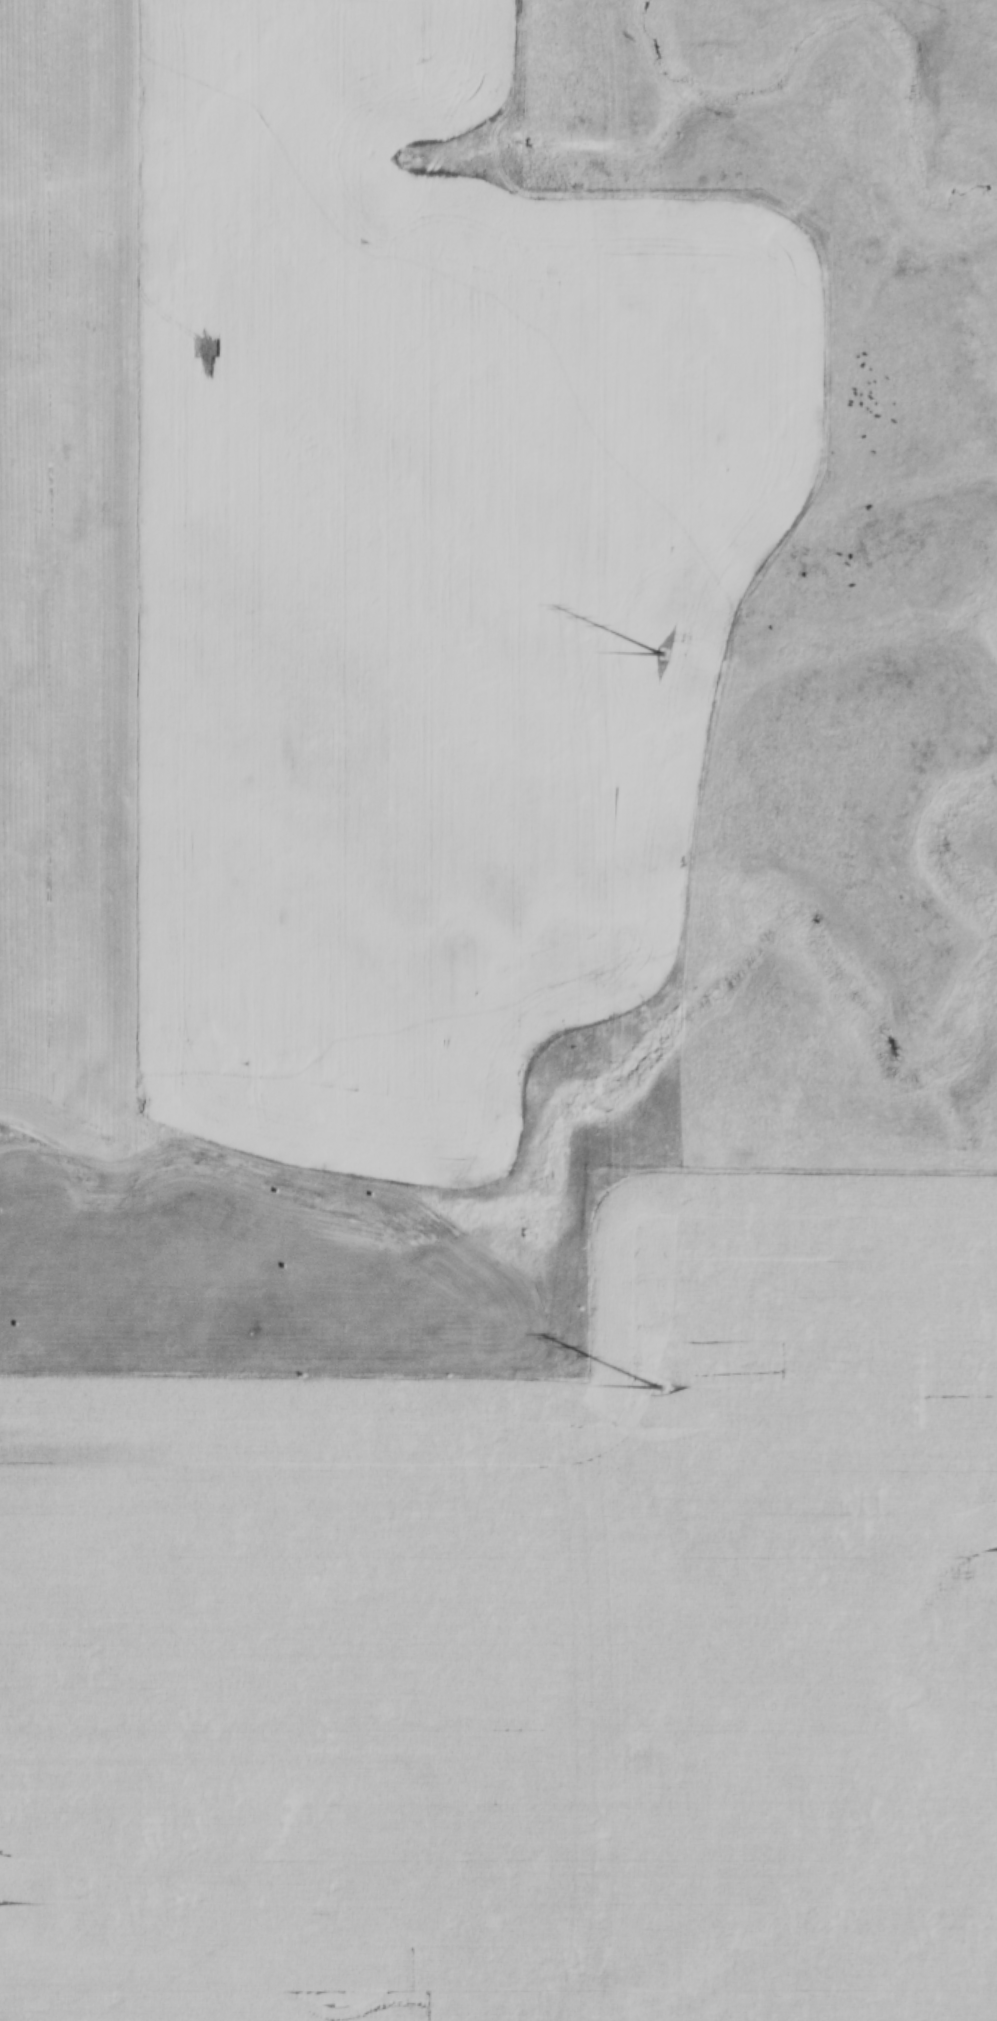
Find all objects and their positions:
power tower: (661, 650)
power tower: (660, 1384)

